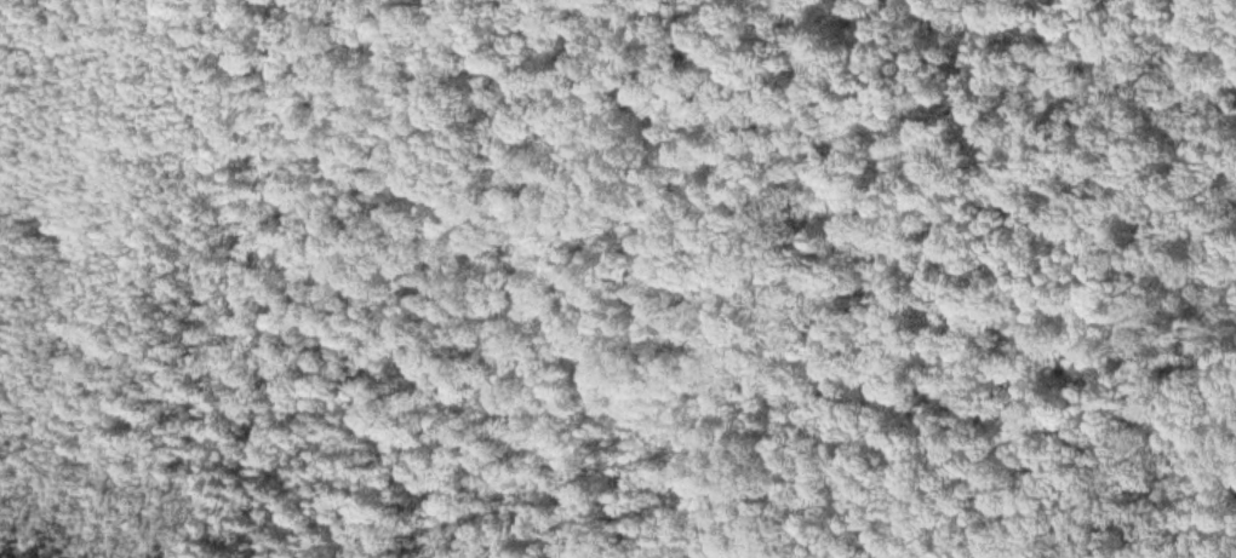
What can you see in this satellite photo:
park: (725, 278)

